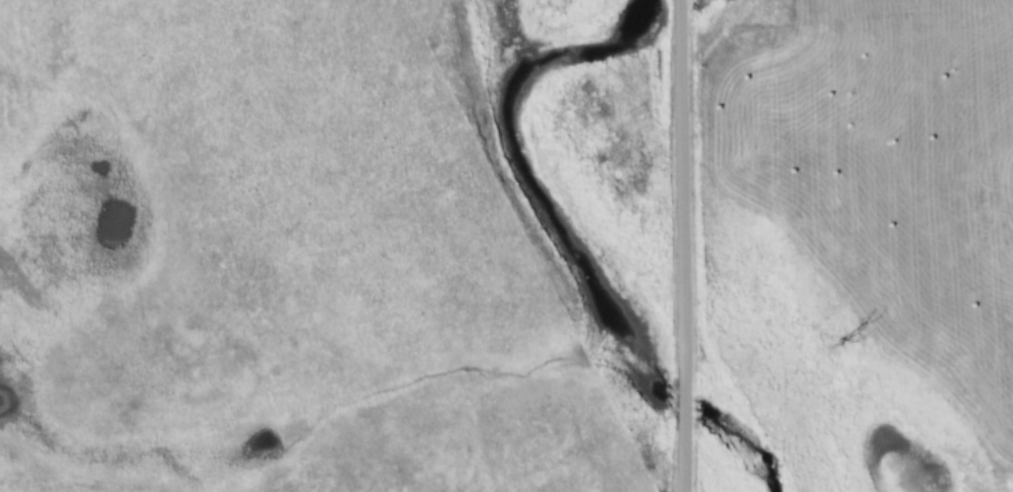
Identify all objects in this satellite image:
road: (684, 246)

